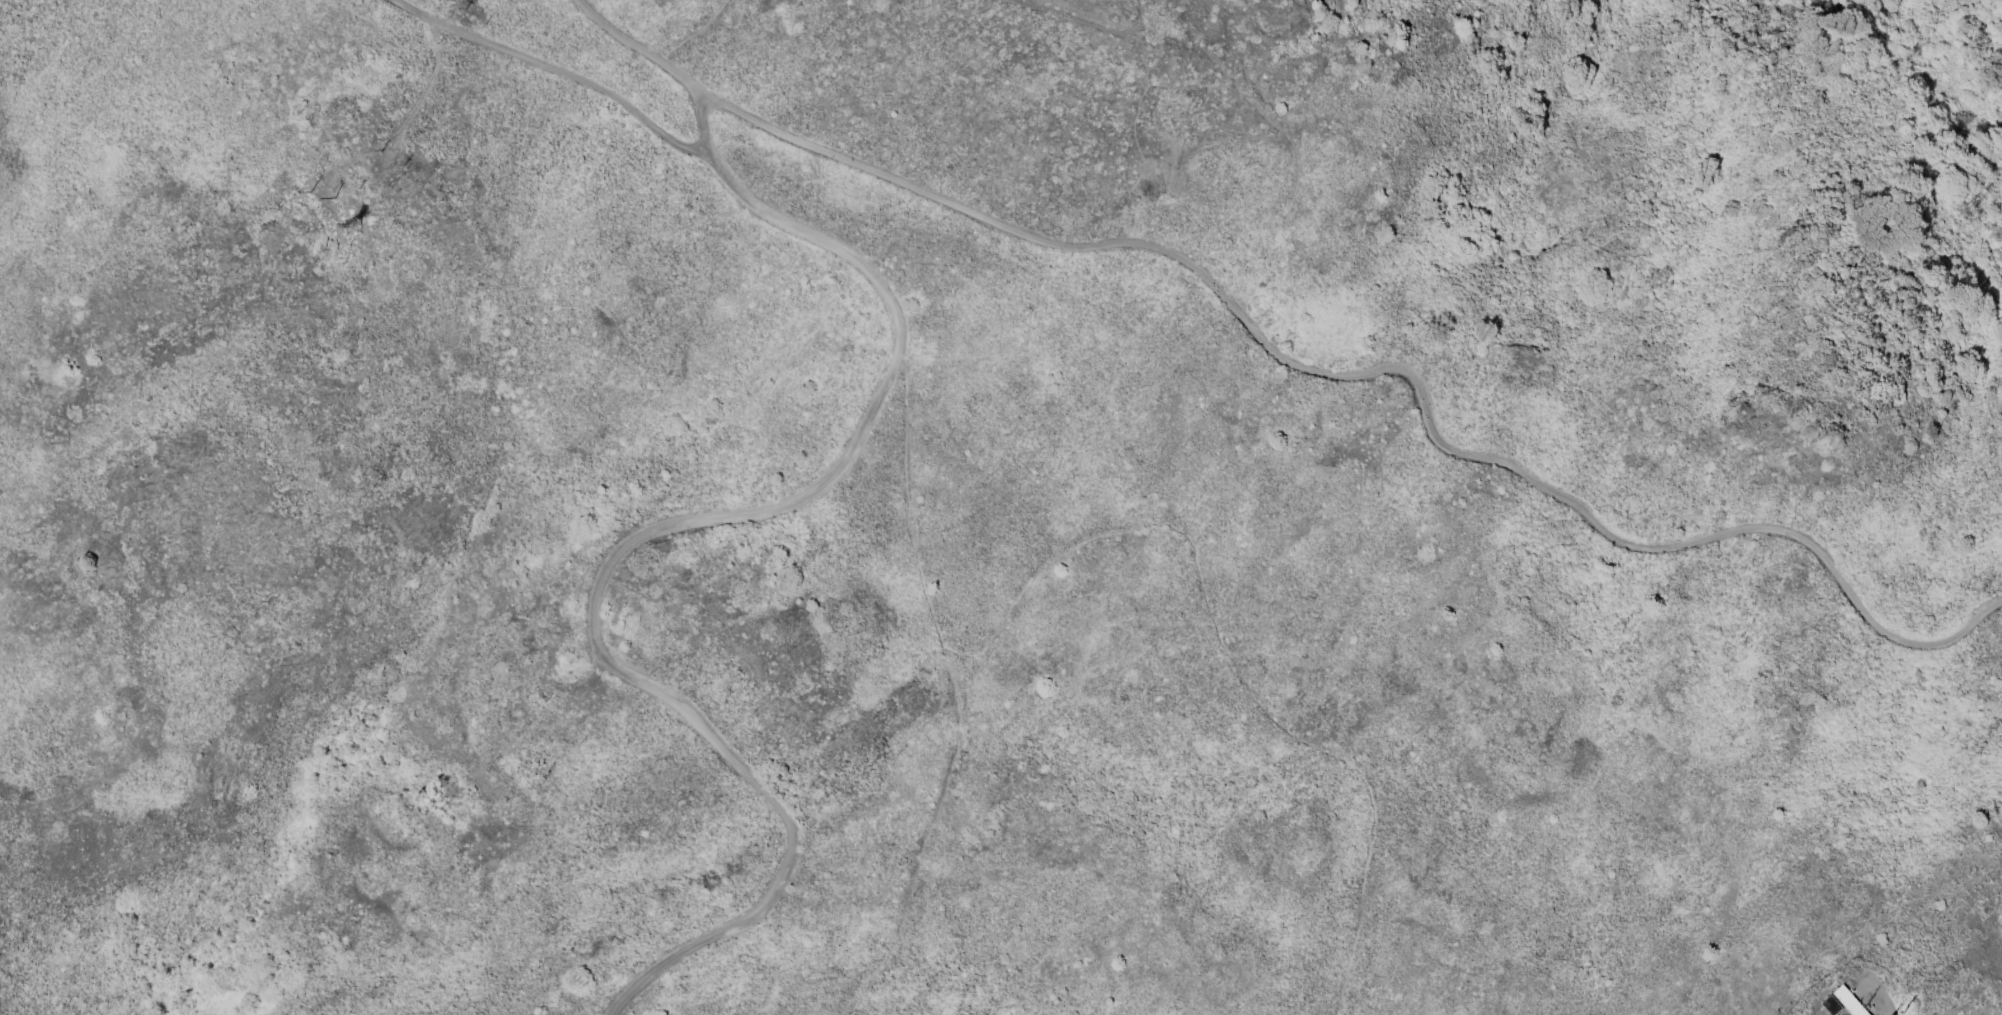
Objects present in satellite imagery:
road: (640, 48)
road: (559, 70)
road: (706, 125)
power tower: (358, 226)
road: (821, 240)
road: (1379, 368)
road: (619, 669)
building: (1849, 1001)
building: (1832, 1004)

